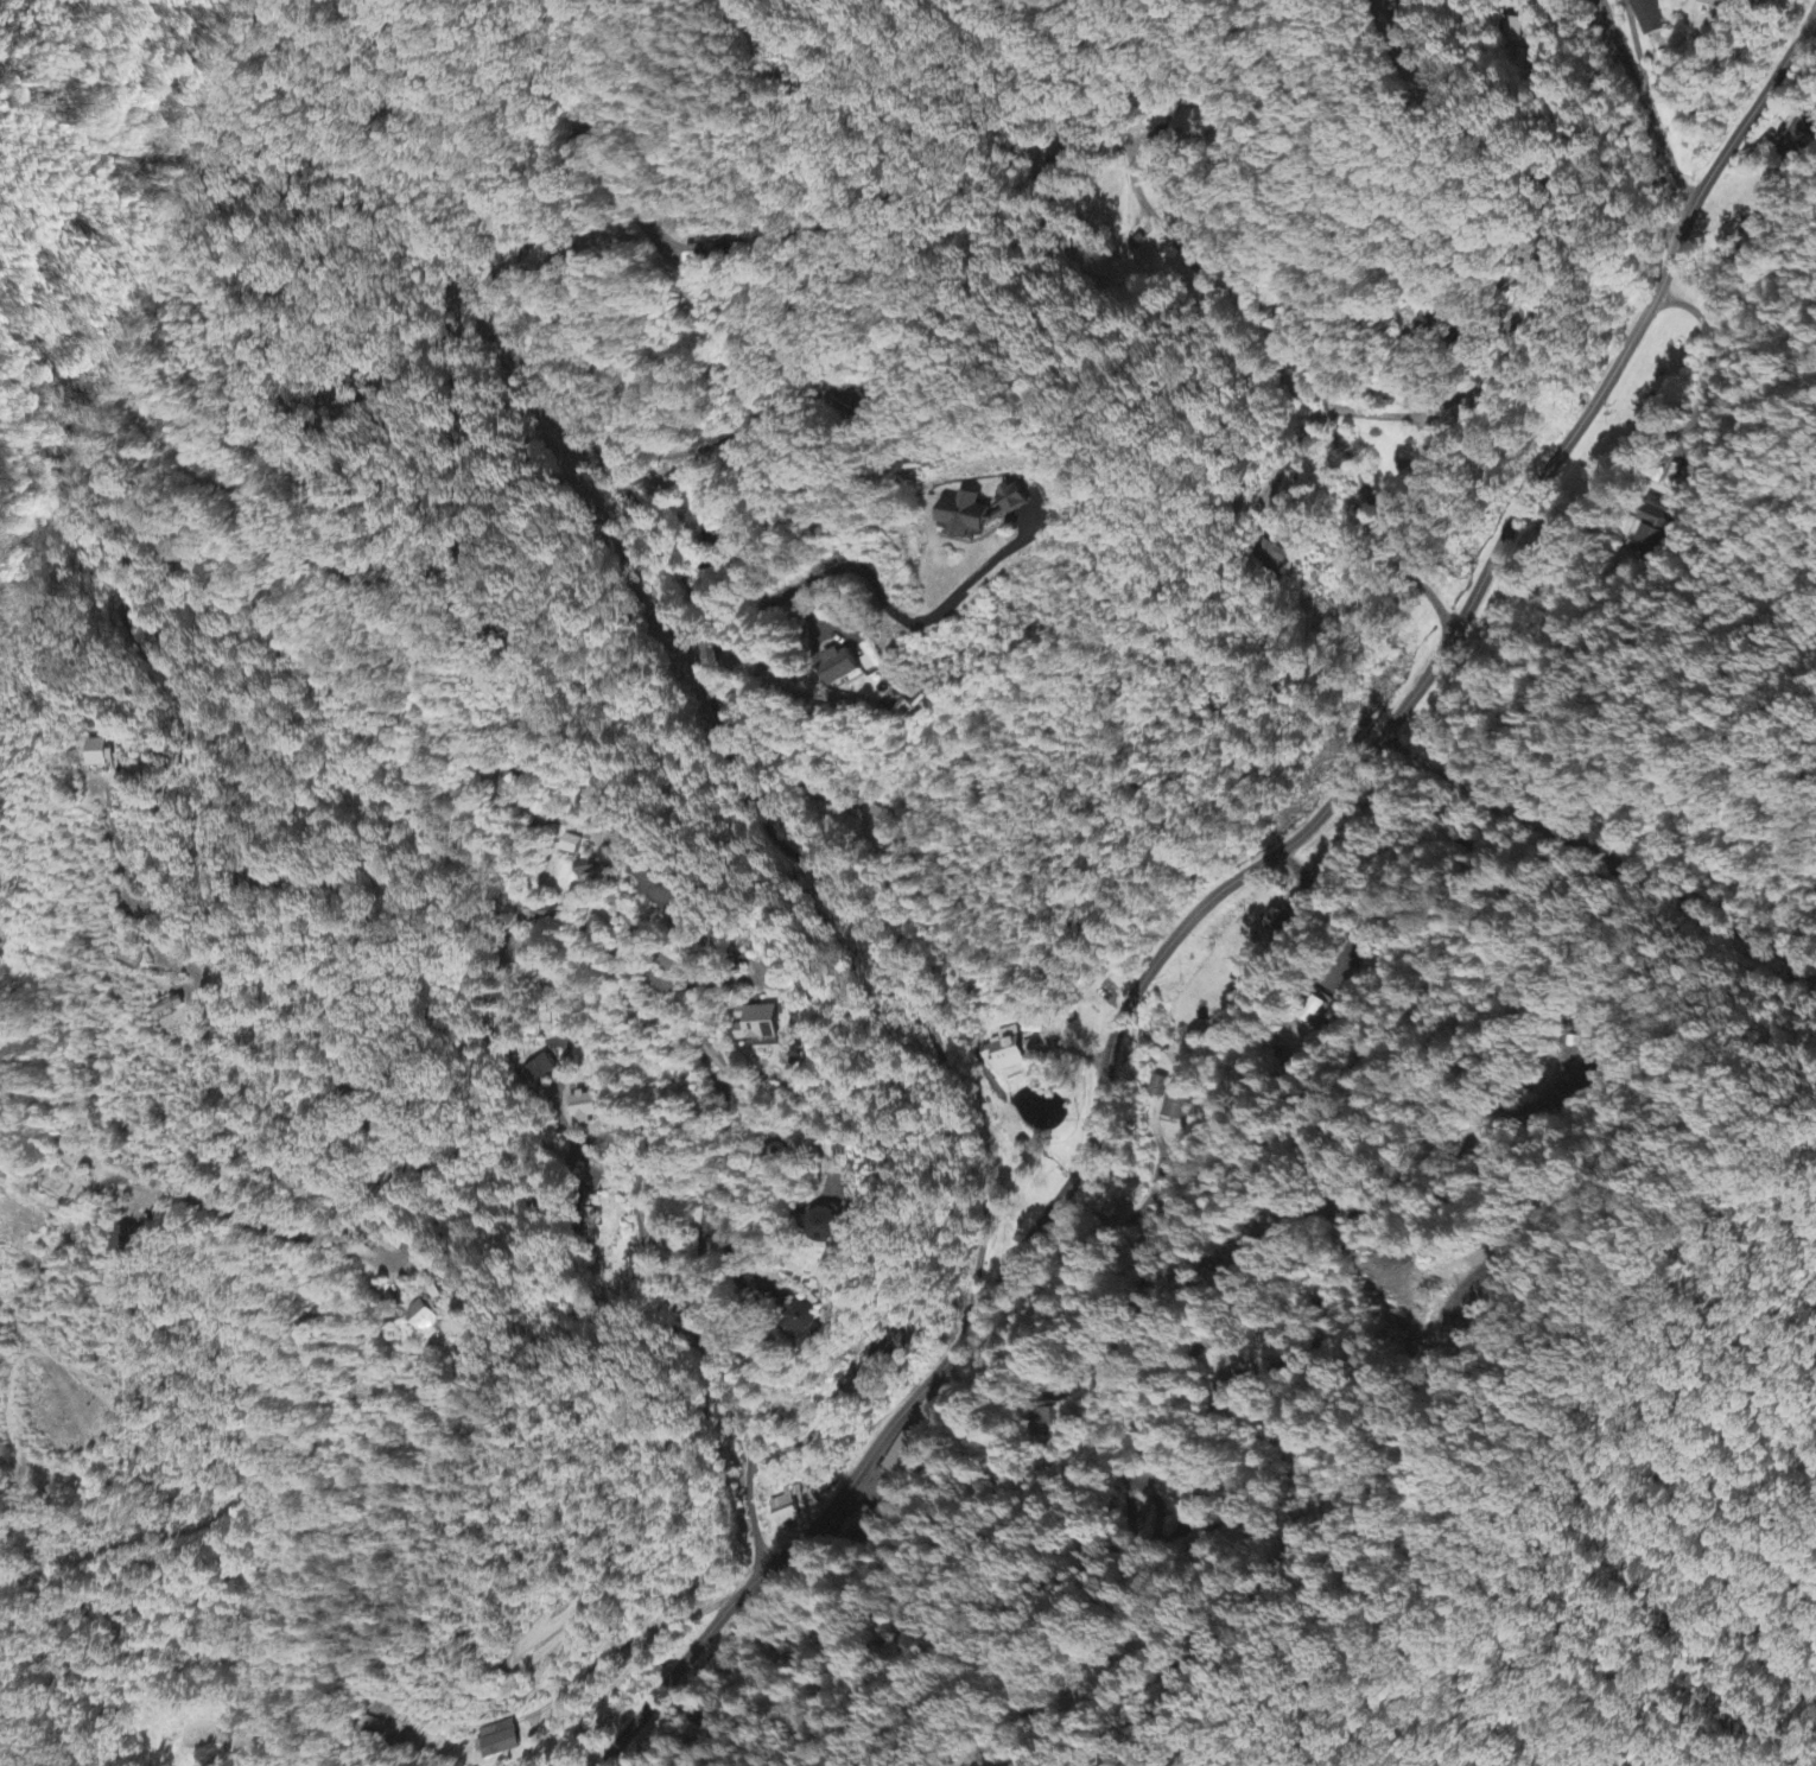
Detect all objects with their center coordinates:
building: (1736, 0)
building: (1715, 4)
building: (1649, 17)
building: (1512, 30)
road: (1640, 101)
road: (1500, 122)
building: (1795, 142)
building: (710, 255)
road: (1156, 318)
building: (1427, 325)
road: (1456, 379)
road: (1304, 400)
road: (256, 497)
building: (1010, 498)
building: (965, 515)
building: (1652, 526)
building: (1274, 554)
road: (852, 579)
road: (698, 652)
building: (842, 665)
road: (1402, 703)
building: (101, 754)
building: (875, 821)
building: (586, 868)
road: (1491, 878)
building: (658, 884)
building: (1277, 923)
road: (573, 967)
building: (169, 1008)
building: (1315, 1011)
building: (513, 1015)
building: (760, 1024)
building: (1588, 1052)
building: (1003, 1055)
building: (713, 1056)
building: (793, 1057)
building: (539, 1072)
road: (506, 1082)
building: (1157, 1087)
building: (1176, 1098)
building: (585, 1106)
road: (309, 1131)
road: (169, 1196)
building: (826, 1226)
building: (123, 1245)
building: (423, 1317)
building: (806, 1324)
road: (1156, 1353)
building: (1224, 1398)
building: (1054, 1422)
building: (906, 1459)
building: (783, 1512)
road: (774, 1558)
road: (913, 1573)
building: (385, 1721)
building: (496, 1741)

